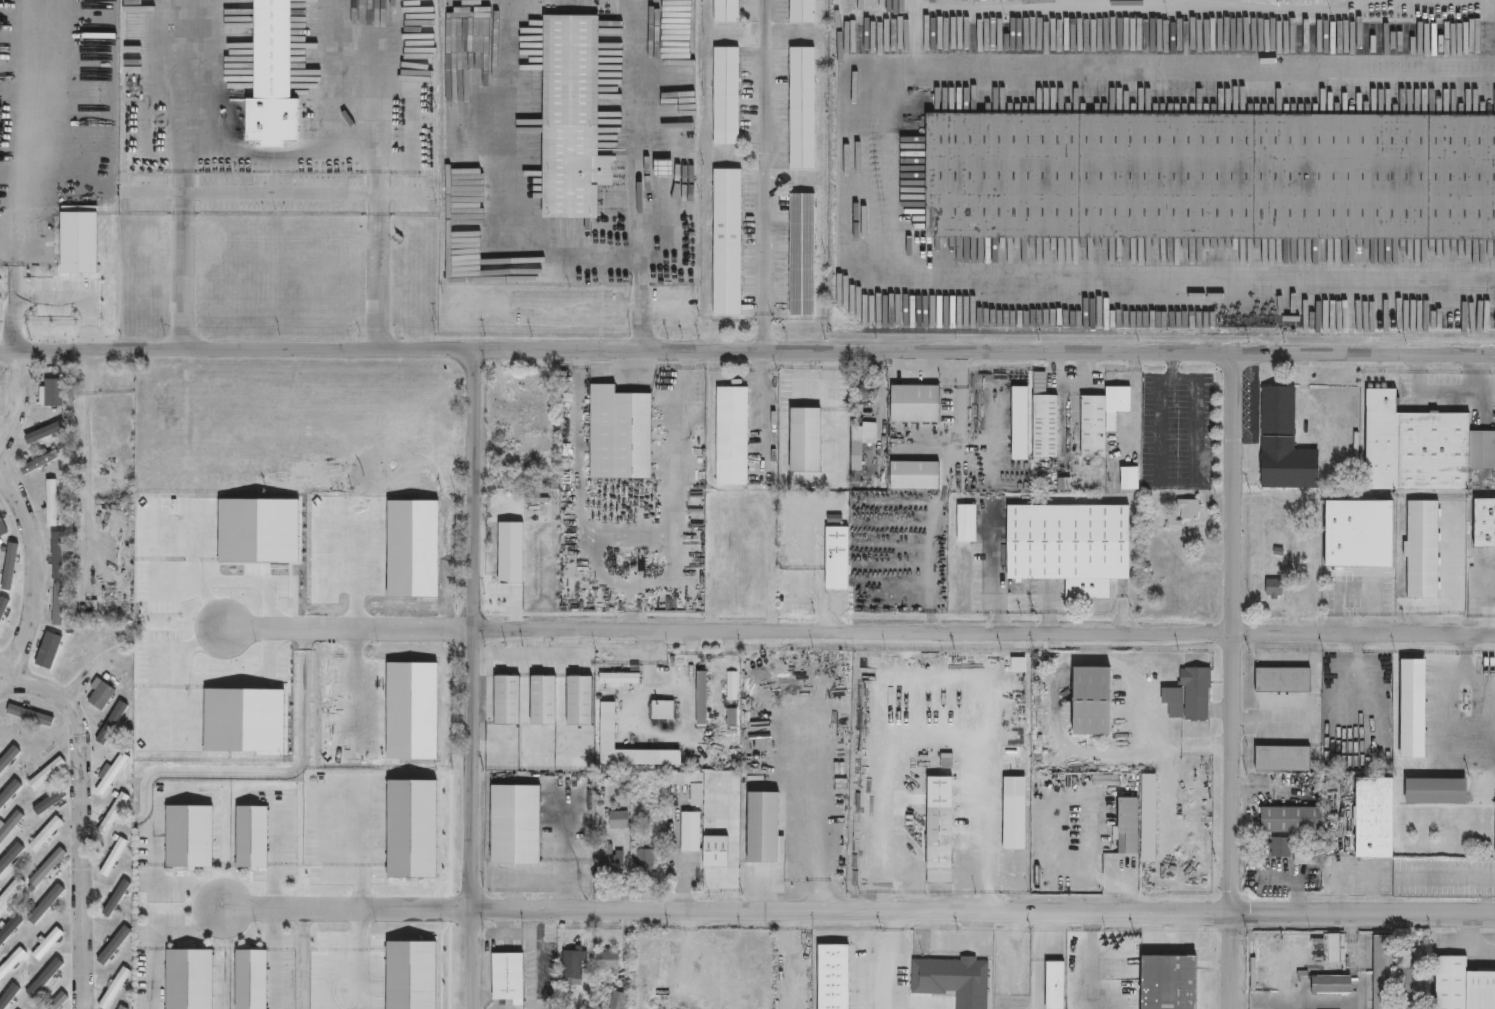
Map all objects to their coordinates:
building: (724, 11)
building: (801, 12)
road: (184, 74)
road: (344, 76)
building: (269, 79)
building: (725, 96)
building: (801, 108)
building: (570, 117)
road: (641, 122)
road: (279, 150)
building: (662, 167)
road: (764, 174)
building: (1210, 174)
road: (867, 175)
road: (507, 187)
road: (281, 190)
building: (726, 241)
building: (801, 254)
road: (53, 297)
road: (640, 299)
road: (747, 349)
building: (50, 393)
building: (863, 393)
building: (0, 397)
road: (18, 401)
building: (915, 403)
building: (515, 407)
road: (763, 407)
building: (1102, 419)
building: (1045, 426)
building: (502, 434)
building: (617, 434)
building: (731, 436)
building: (804, 439)
building: (1281, 443)
building: (1420, 446)
building: (856, 447)
building: (36, 467)
building: (914, 475)
building: (1130, 478)
road: (1169, 482)
building: (50, 503)
building: (1189, 508)
building: (1452, 519)
building: (967, 523)
building: (1483, 523)
building: (4, 524)
building: (1355, 533)
building: (1070, 546)
building: (1420, 549)
building: (57, 557)
building: (837, 557)
building: (757, 565)
building: (13, 566)
road: (1452, 568)
road: (38, 570)
road: (232, 586)
building: (728, 587)
building: (1274, 587)
road: (1024, 592)
building: (57, 605)
road: (1123, 608)
road: (1493, 610)
building: (88, 611)
road: (859, 631)
building: (42, 651)
road: (4, 671)
road: (1463, 673)
road: (4, 678)
road: (473, 678)
building: (619, 679)
road: (1234, 680)
building: (1282, 680)
road: (81, 683)
building: (1197, 692)
building: (101, 696)
building: (701, 699)
building: (732, 699)
building: (505, 700)
building: (541, 701)
building: (578, 701)
building: (1090, 701)
building: (1174, 702)
building: (662, 711)
road: (1437, 713)
road: (1466, 720)
building: (606, 727)
road: (935, 731)
building: (1280, 759)
building: (10, 760)
road: (203, 771)
building: (47, 773)
building: (111, 774)
building: (1433, 792)
building: (112, 815)
building: (1149, 818)
building: (1371, 818)
building: (618, 820)
building: (1288, 820)
road: (84, 822)
building: (939, 823)
building: (1014, 823)
building: (513, 825)
building: (9, 826)
building: (1128, 826)
building: (691, 831)
building: (44, 834)
building: (190, 836)
building: (252, 837)
building: (1494, 840)
building: (1292, 851)
building: (715, 853)
building: (114, 856)
building: (644, 861)
building: (611, 862)
building: (46, 867)
road: (1447, 876)
building: (10, 892)
building: (117, 897)
building: (45, 905)
road: (273, 907)
road: (858, 909)
building: (9, 930)
road: (158, 937)
building: (46, 944)
building: (1335, 947)
building: (110, 948)
road: (299, 958)
building: (607, 960)
building: (652, 961)
building: (11, 962)
building: (571, 964)
building: (1380, 971)
building: (1402, 976)
building: (833, 977)
building: (190, 978)
building: (251, 978)
building: (514, 978)
building: (960, 978)
building: (1169, 983)
building: (115, 984)
building: (1056, 984)
building: (1331, 984)
building: (1461, 985)
building: (616, 1000)
building: (56, 1001)
building: (121, 1007)

